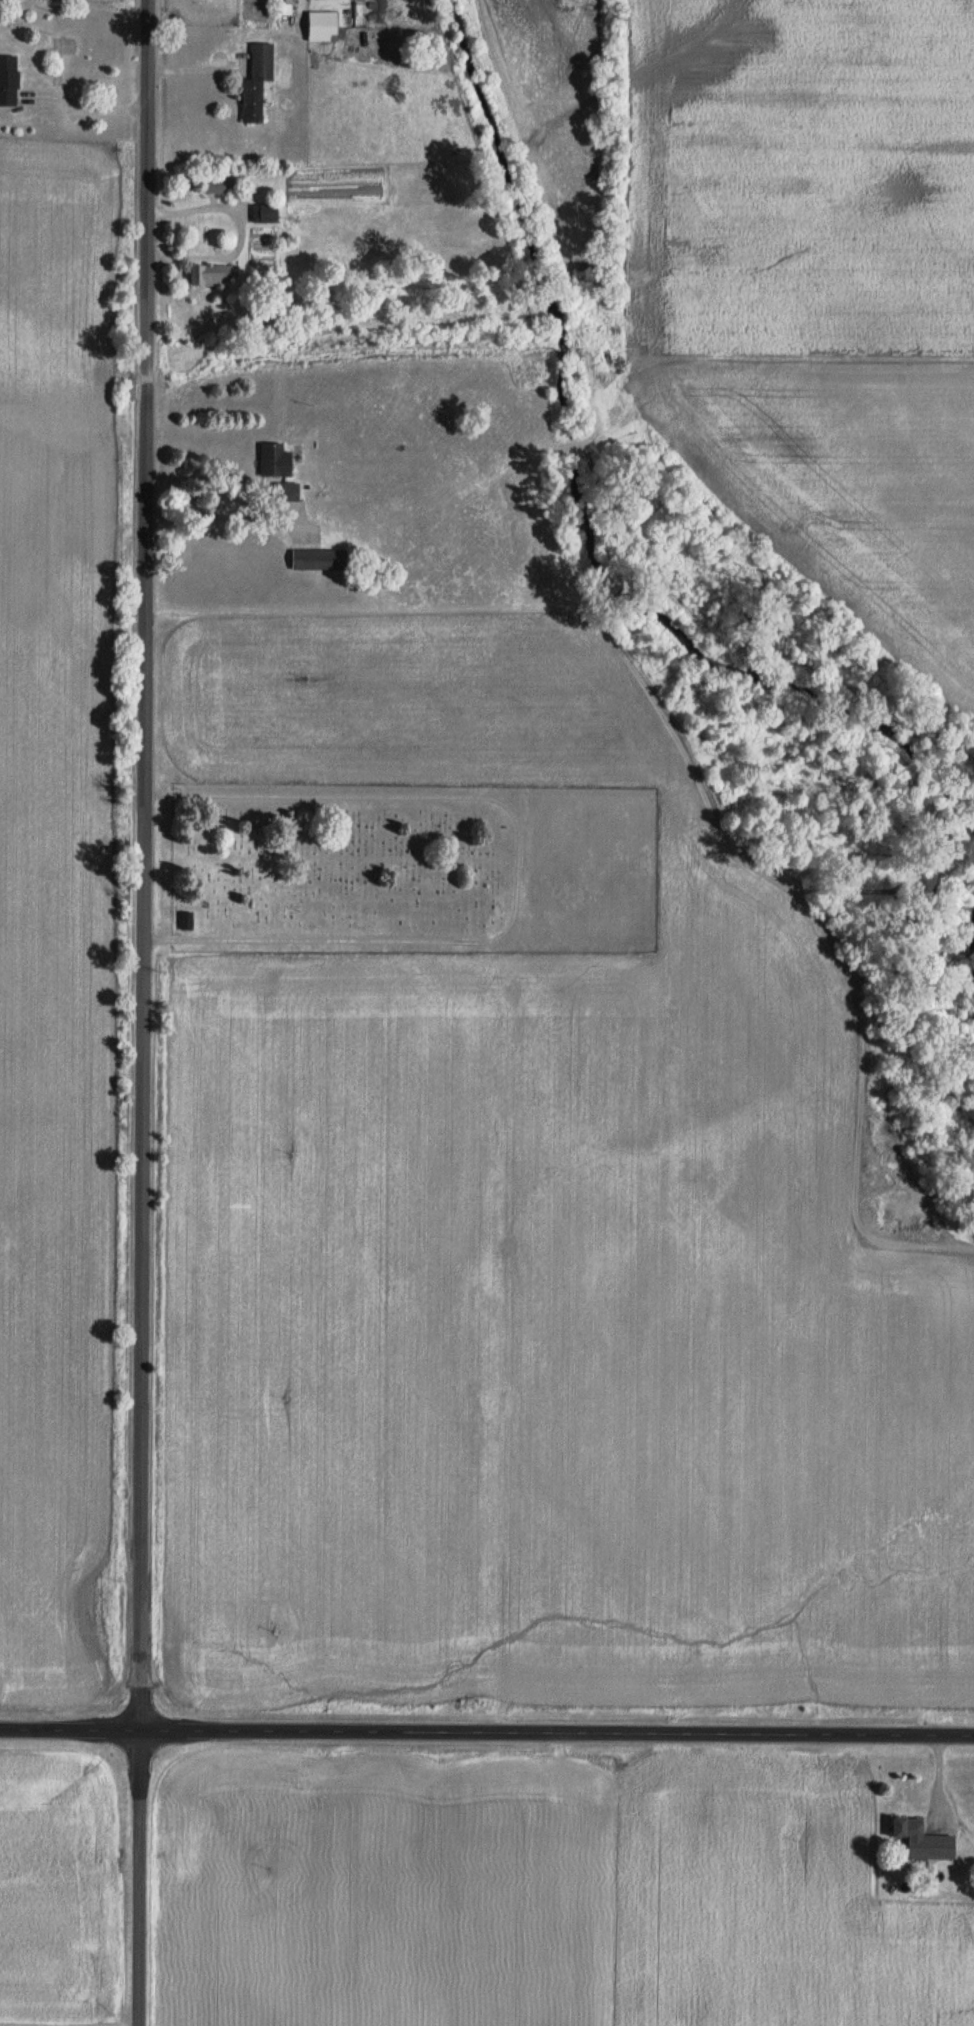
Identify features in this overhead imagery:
building: (324, 25)
building: (9, 80)
building: (257, 82)
building: (220, 184)
building: (267, 212)
road: (235, 226)
building: (211, 273)
building: (276, 457)
road: (226, 517)
building: (318, 557)
park: (347, 869)
building: (187, 920)
road: (143, 1013)
road: (486, 1733)
road: (936, 1799)
building: (914, 1828)

